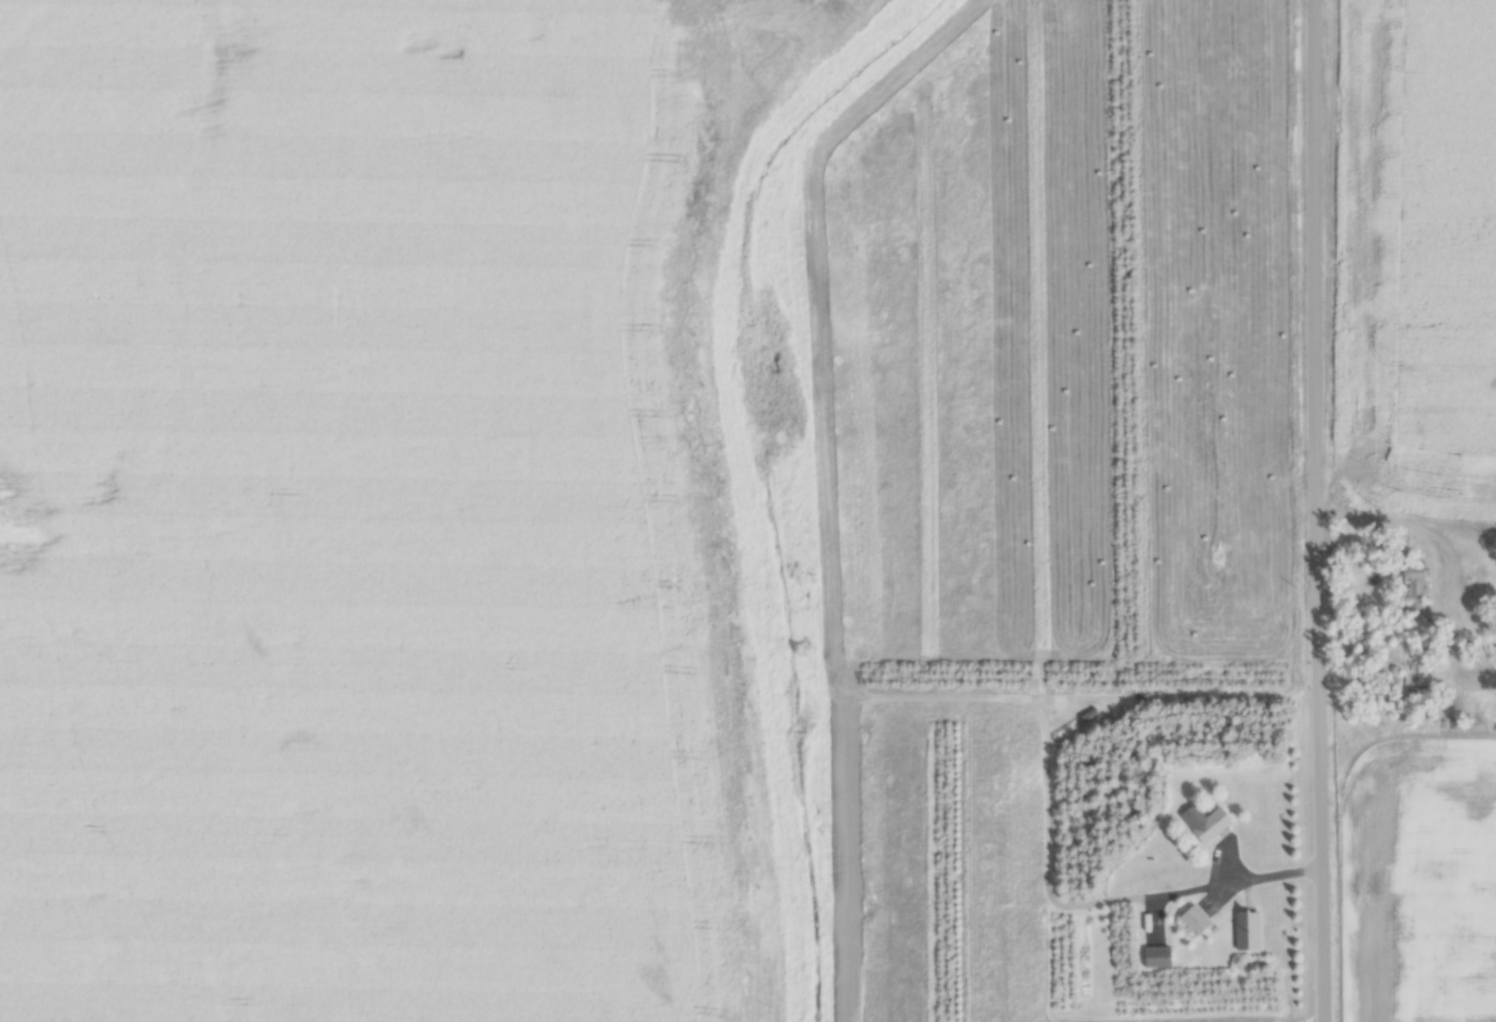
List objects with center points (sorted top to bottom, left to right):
road: (1313, 511)
road: (1424, 533)
building: (1411, 588)
building: (1085, 716)
building: (1203, 824)
building: (1193, 922)
building: (1157, 958)

